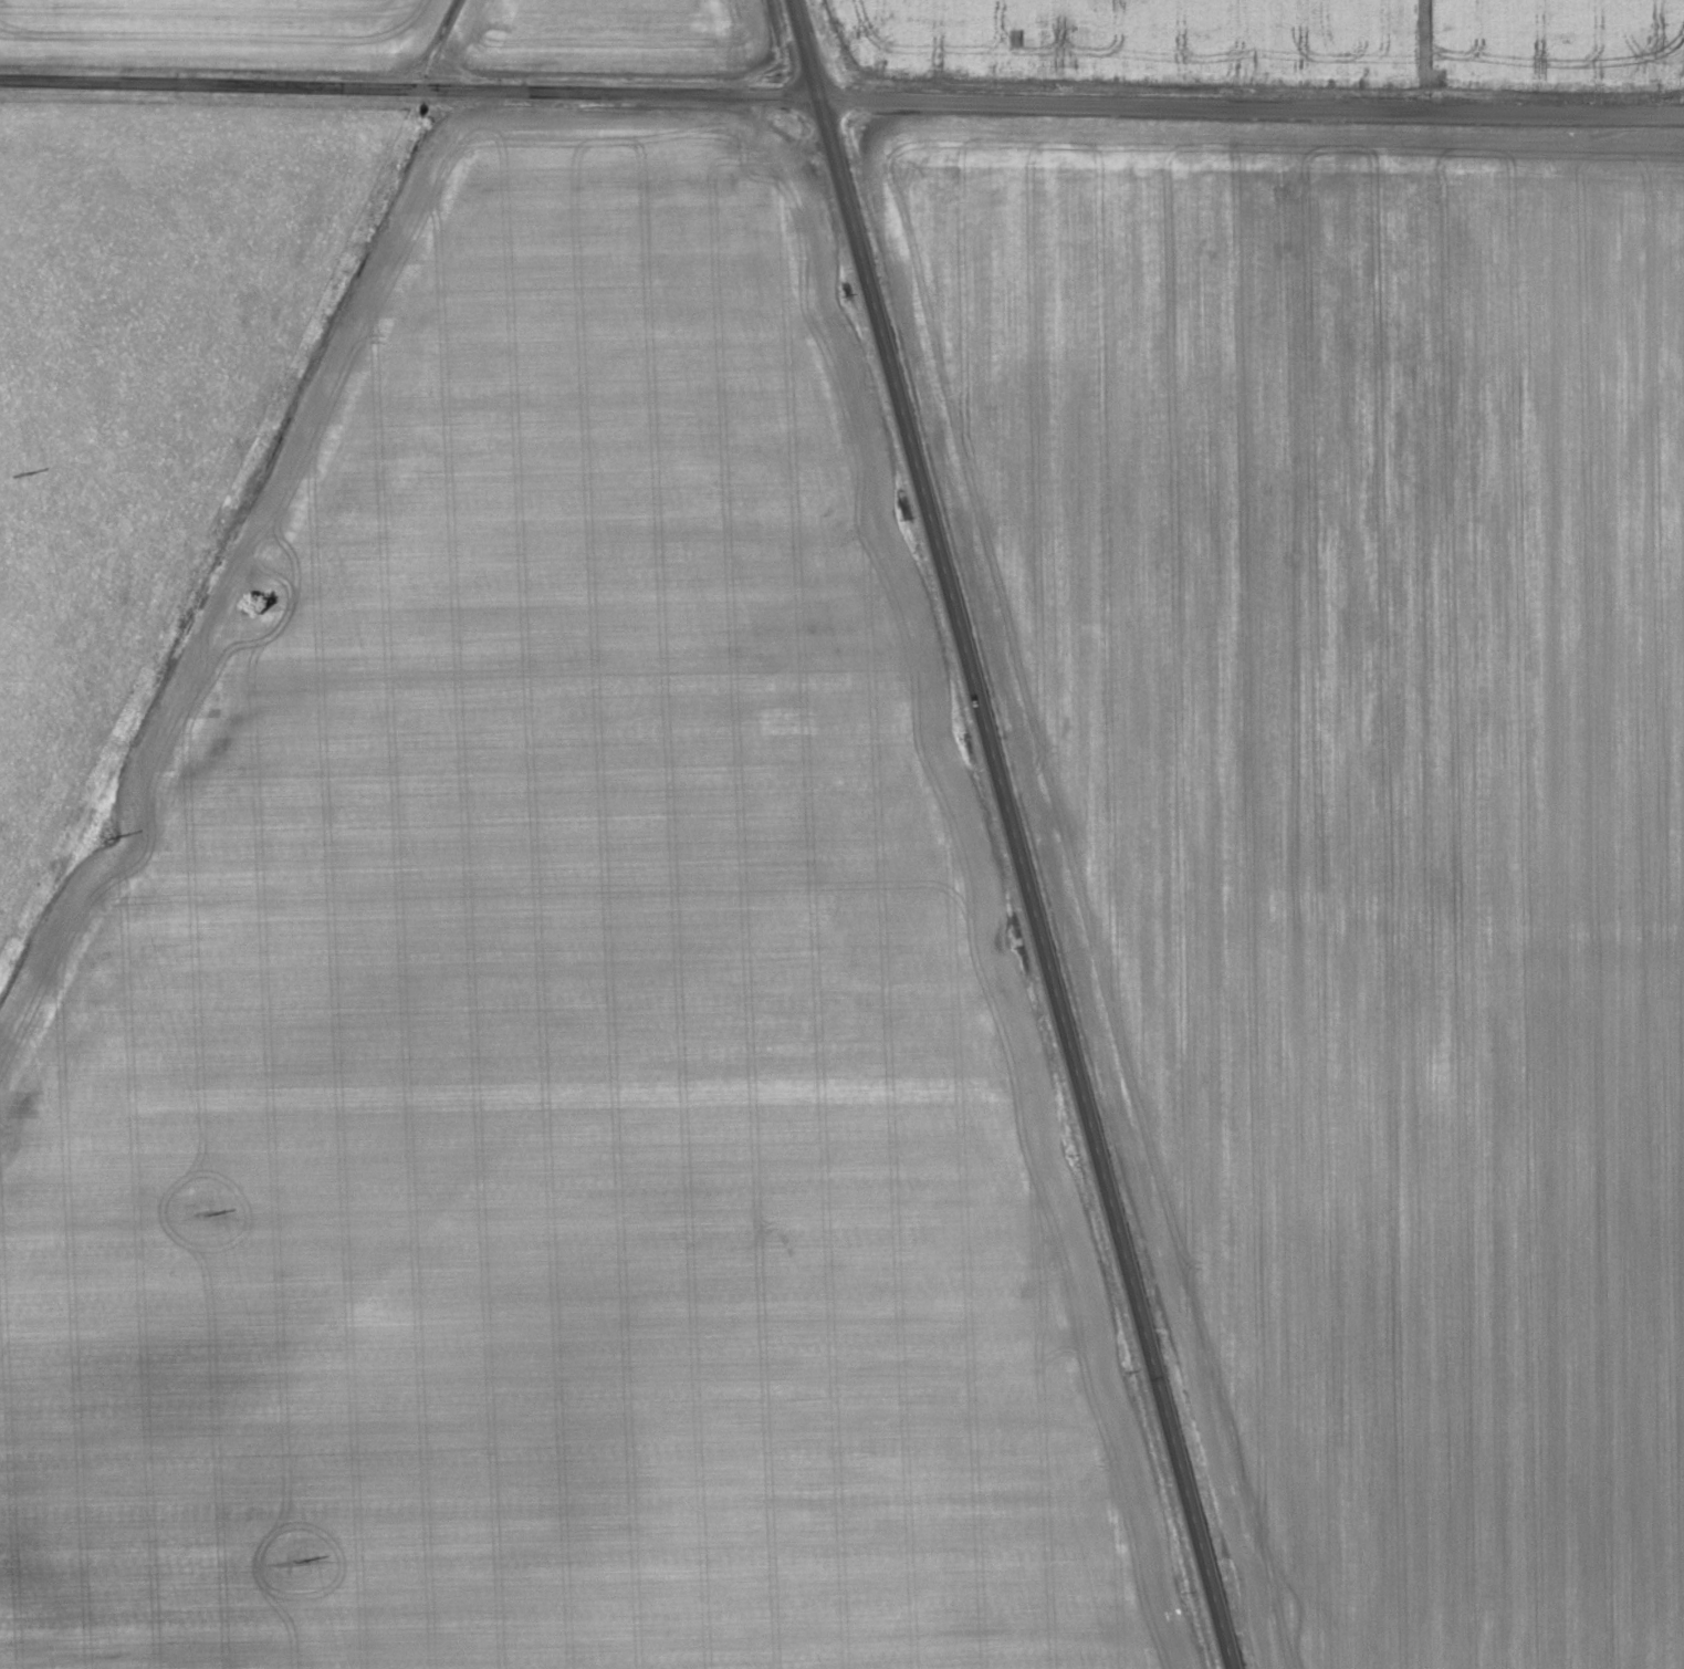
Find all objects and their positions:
road: (409, 86)
road: (1251, 103)
power tower: (14, 474)
road: (1014, 833)
power tower: (108, 836)
power tower: (206, 1214)
power tower: (296, 1563)

